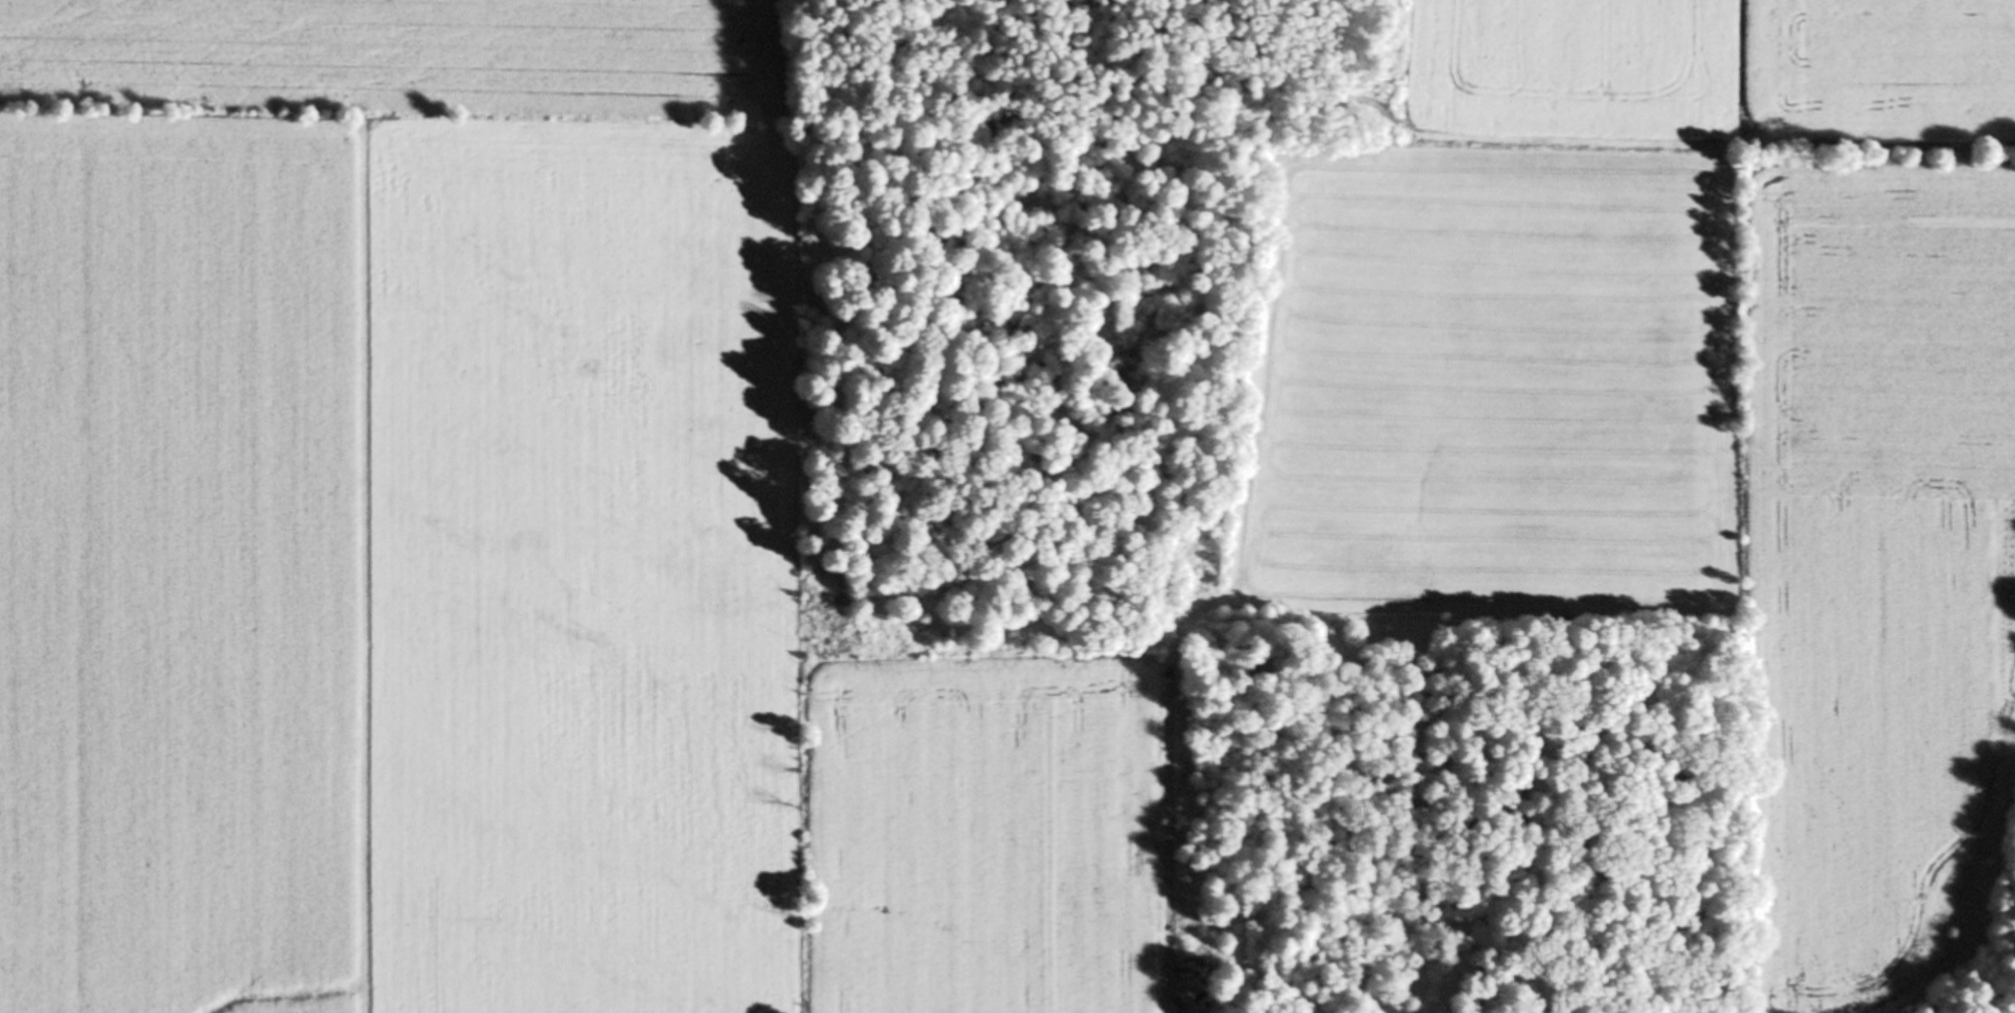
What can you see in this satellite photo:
crop: (1680, 407)

